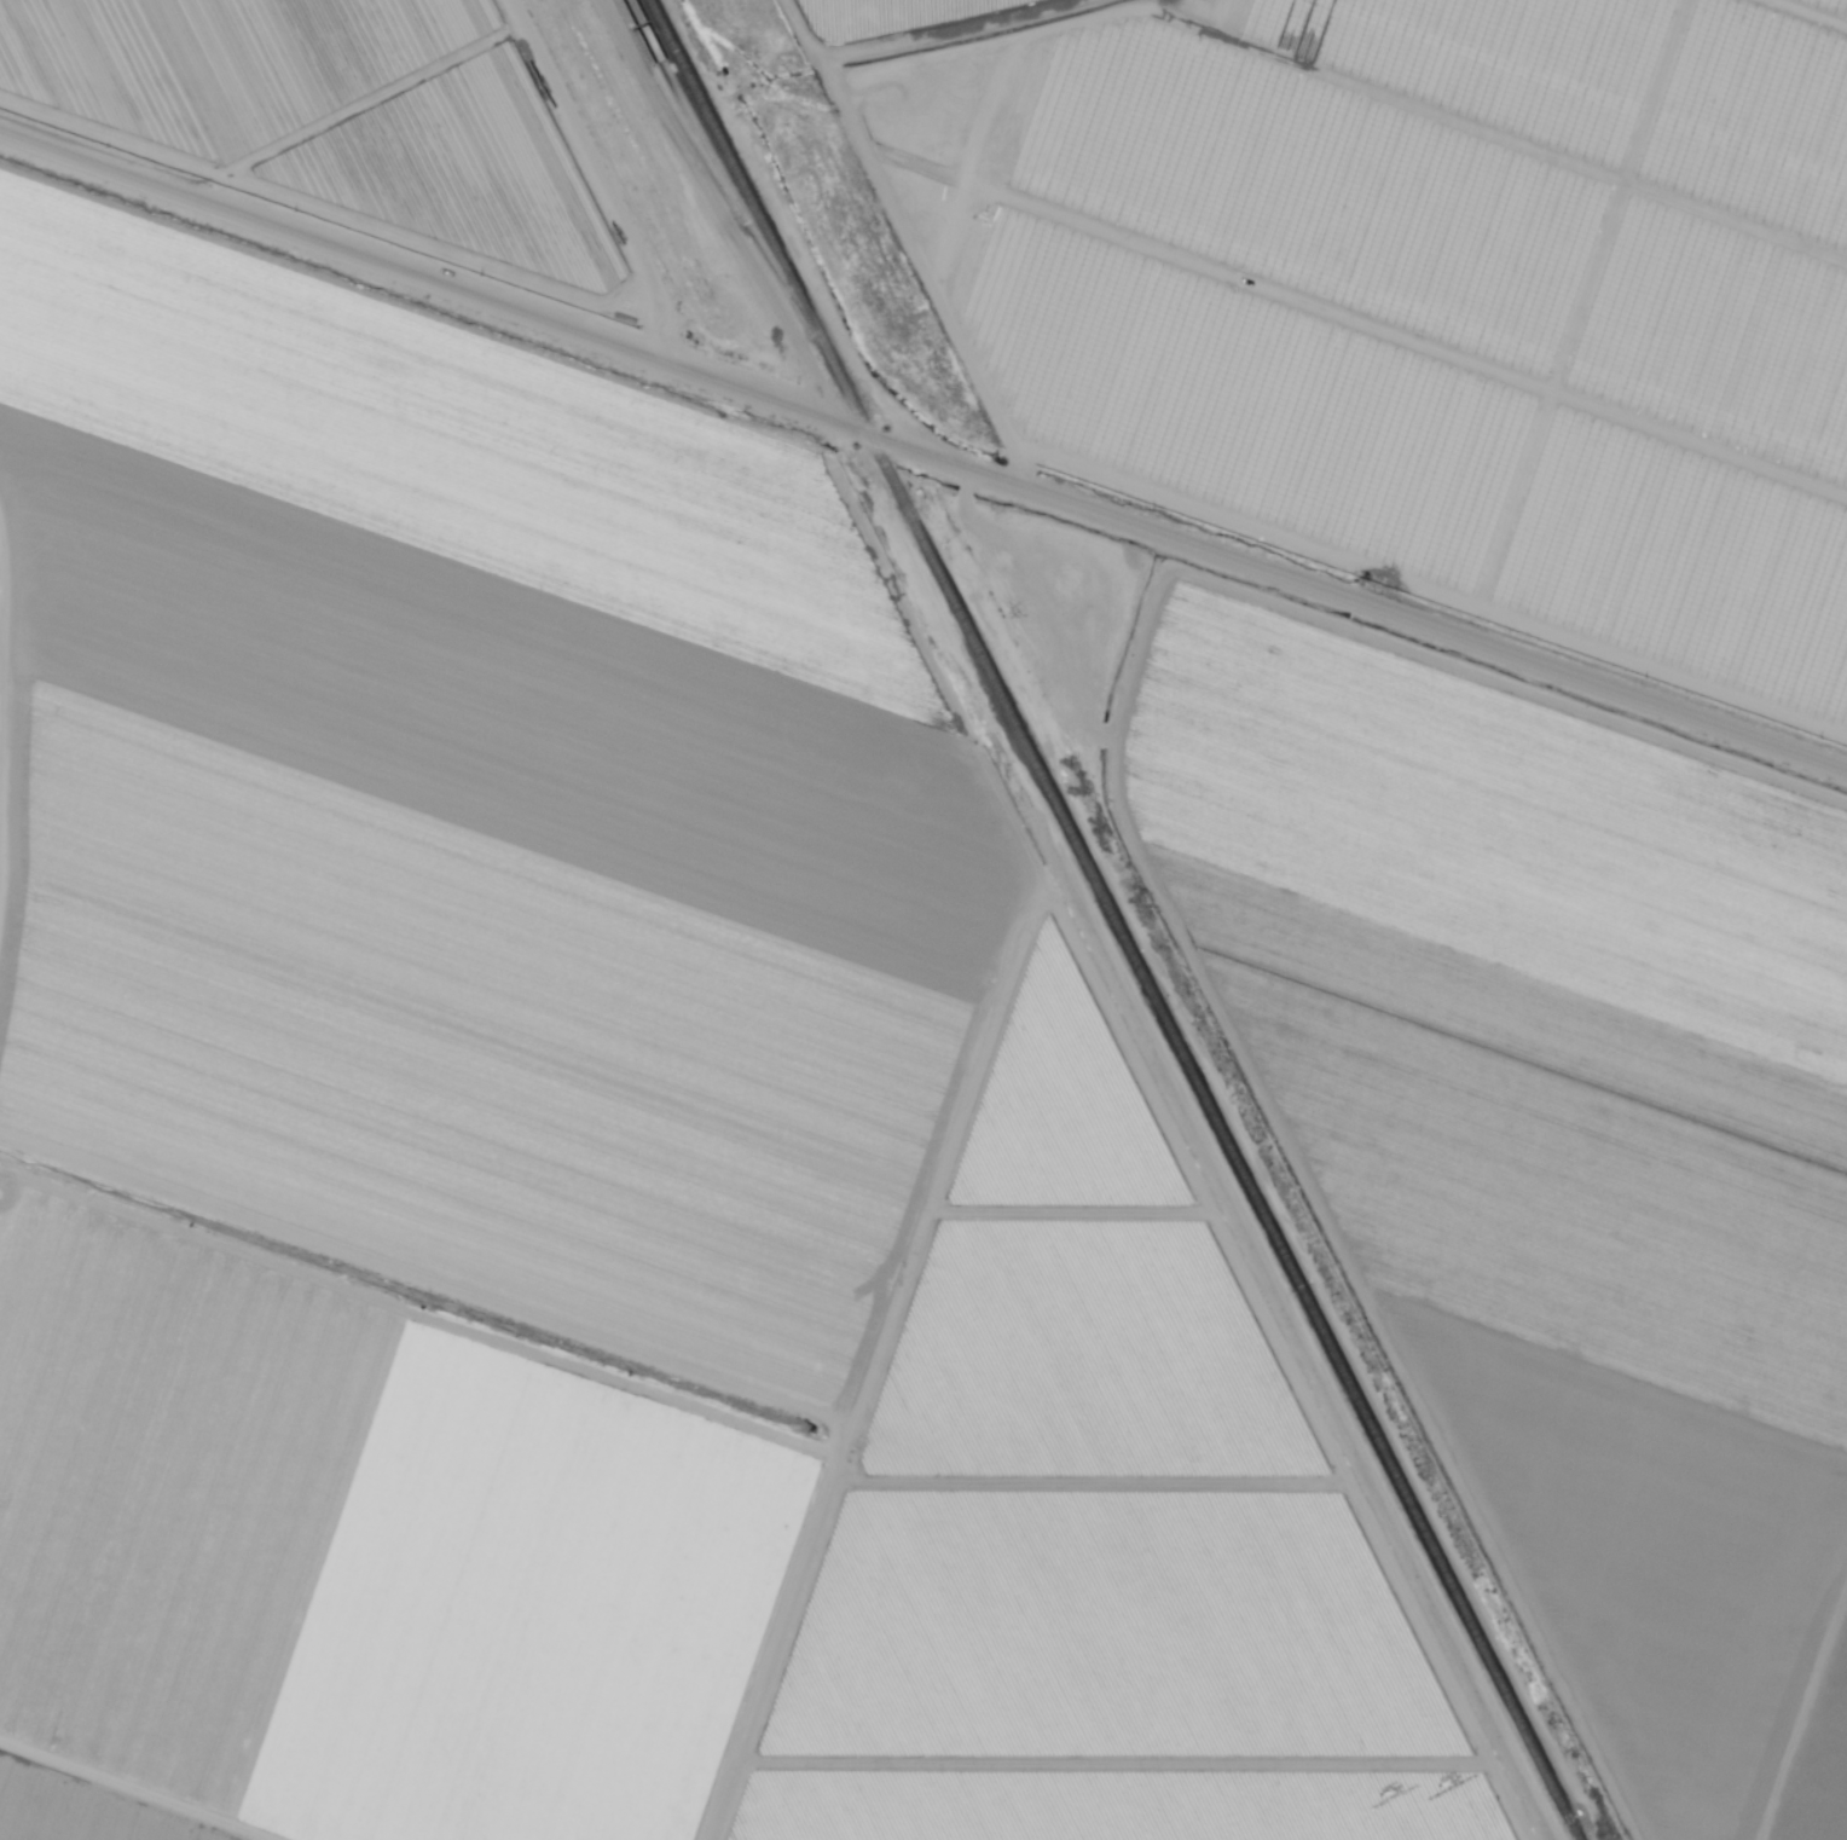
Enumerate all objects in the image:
crop: (838, 21)
crop: (442, 22)
crop: (567, 37)
road: (371, 98)
crop: (337, 125)
road: (591, 161)
railway: (733, 164)
railway: (713, 167)
crop: (654, 209)
road: (332, 210)
crop: (1406, 291)
road: (681, 353)
road: (922, 457)
crop: (471, 805)
crop: (1496, 849)
railway: (1198, 1084)
crop: (1557, 1187)
crop: (1107, 1512)
crop: (1644, 1537)
crop: (363, 1555)
crop: (1825, 1714)
crop: (1680, 1786)
crop: (81, 1809)
crop: (1805, 1816)

